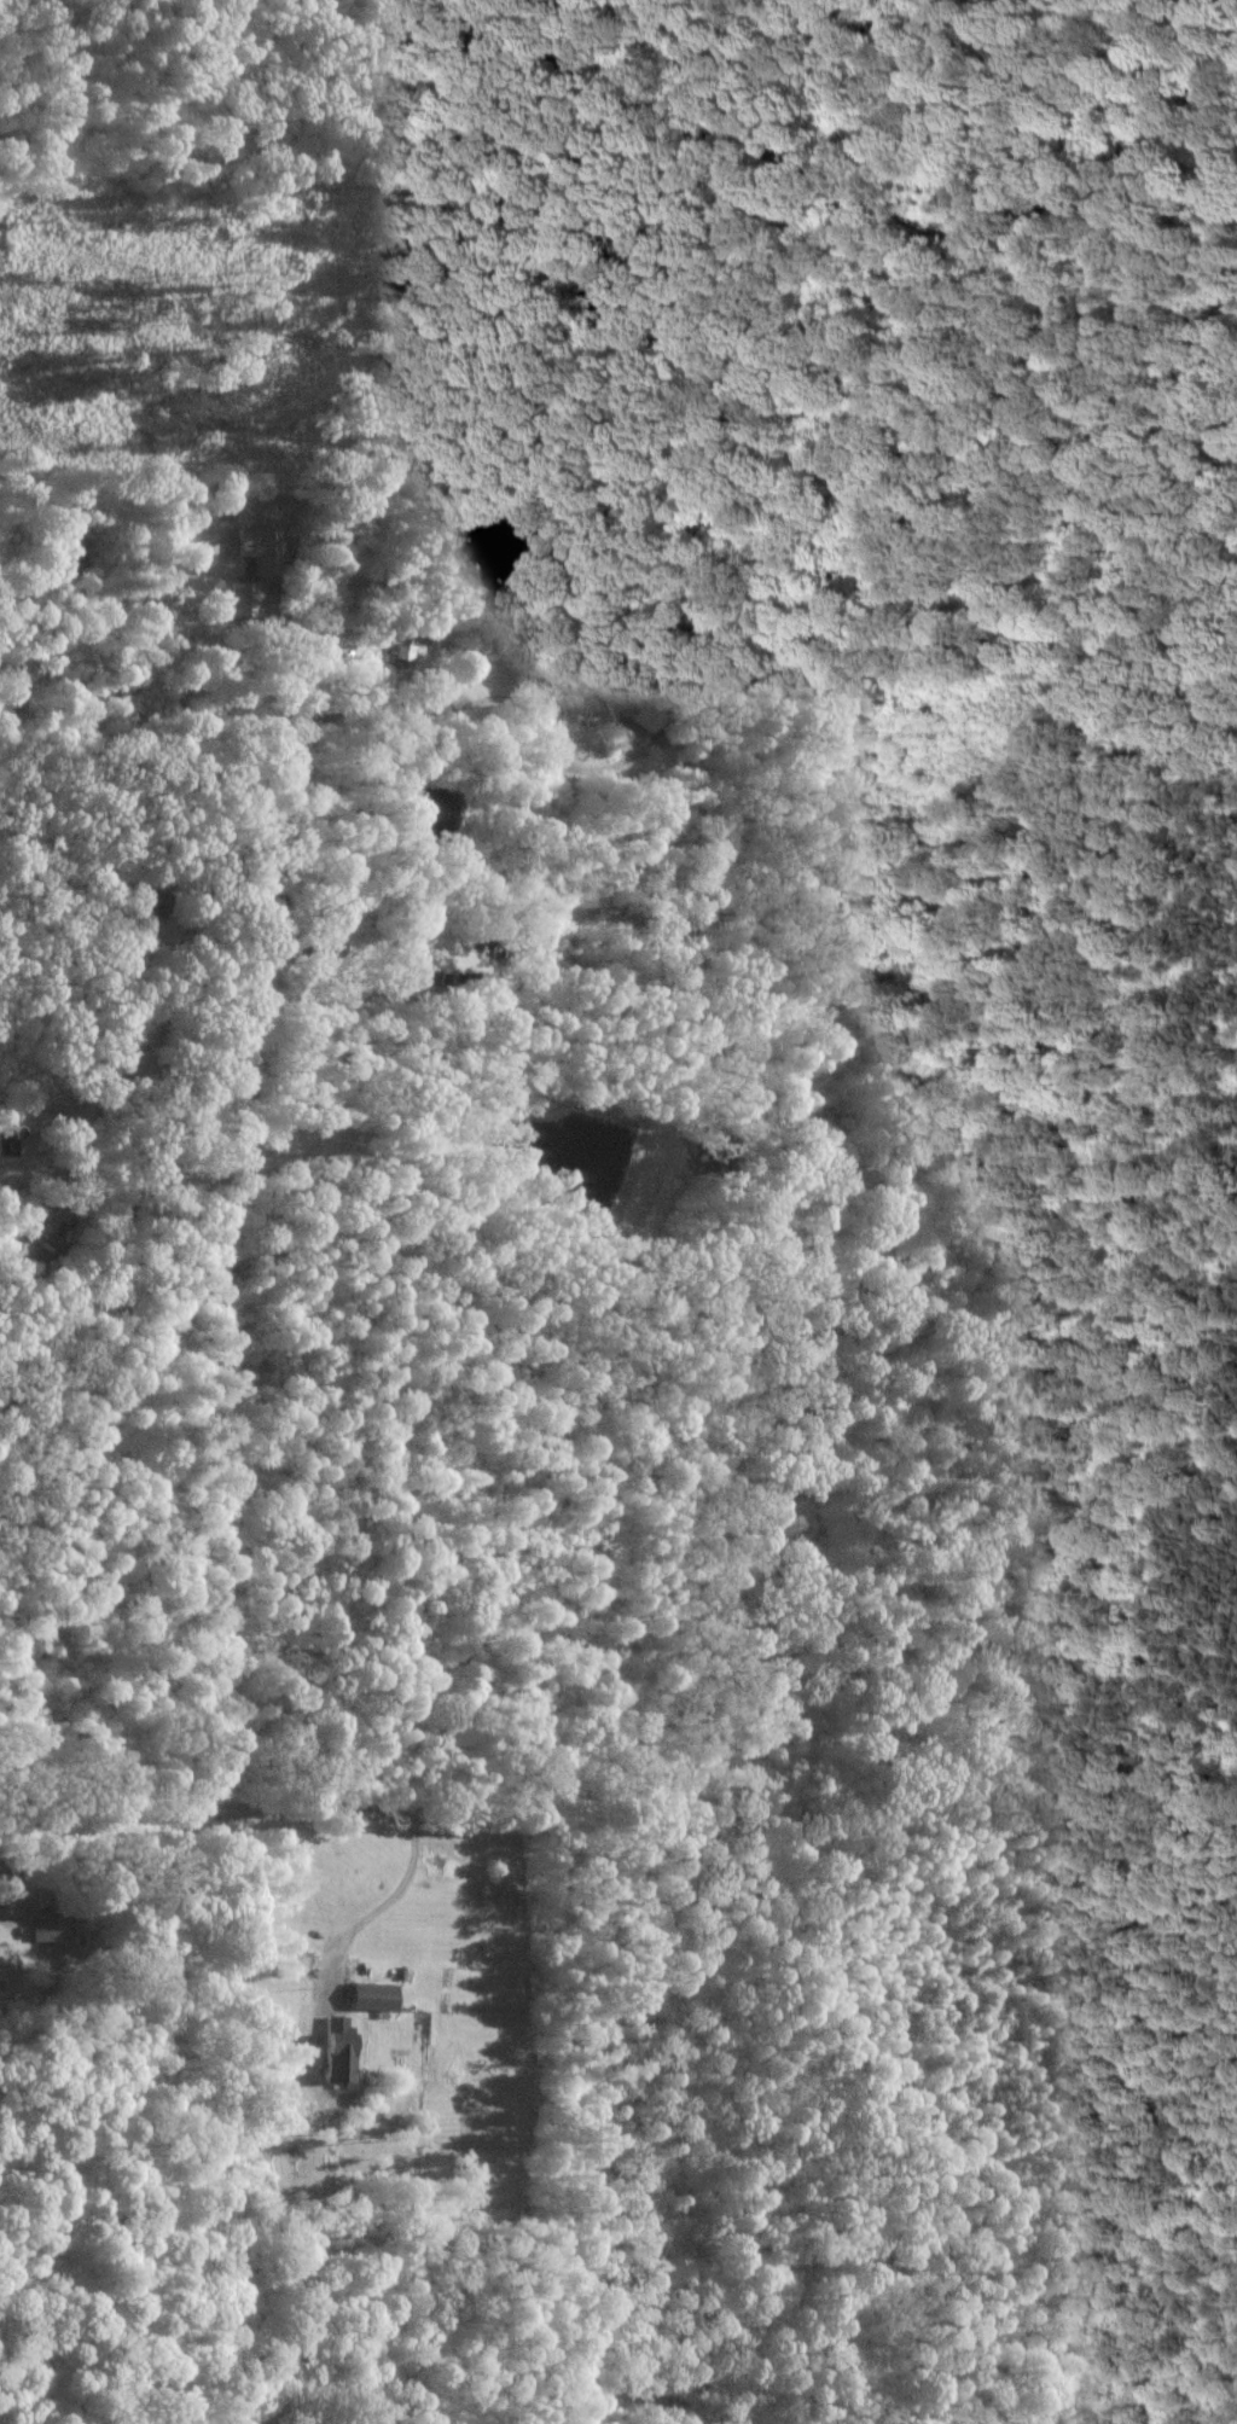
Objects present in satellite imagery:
building: (240, 597)
building: (399, 645)
building: (635, 715)
road: (279, 725)
building: (5, 1139)
road: (202, 1808)
road: (400, 1889)
building: (50, 1930)
building: (370, 1994)
building: (333, 2047)

